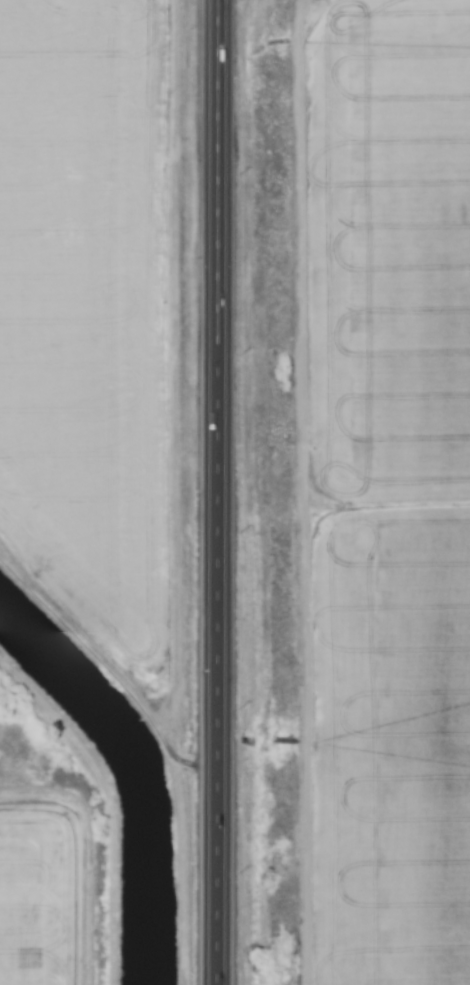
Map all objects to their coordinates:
road: (215, 492)
river: (137, 769)

